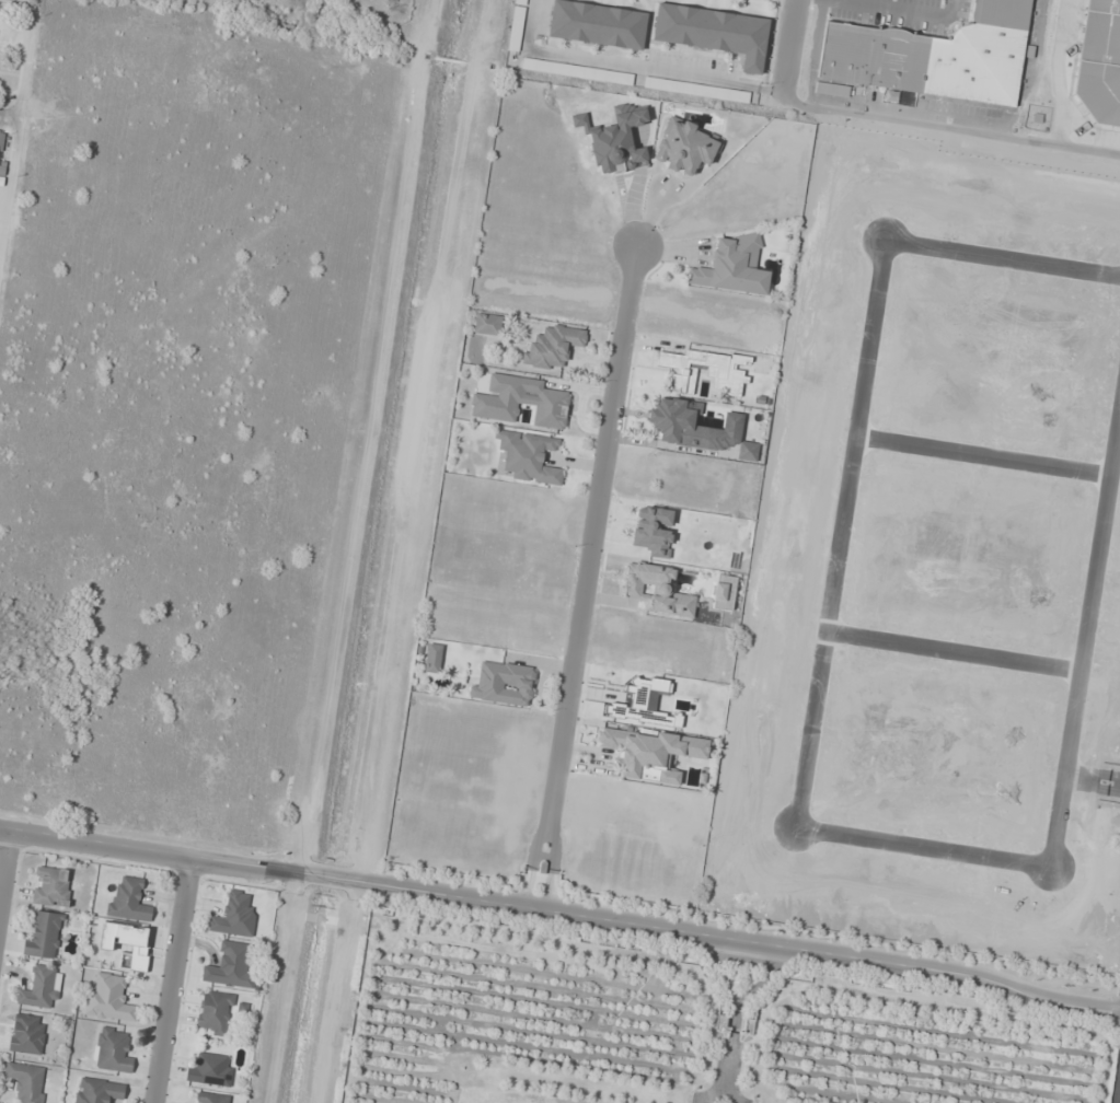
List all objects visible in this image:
building: (598, 24)
building: (519, 25)
building: (714, 32)
road: (787, 50)
building: (935, 56)
building: (1100, 67)
building: (577, 71)
building: (696, 90)
road: (950, 127)
building: (2, 139)
building: (615, 140)
building: (684, 148)
building: (732, 267)
building: (487, 324)
building: (553, 347)
building: (705, 370)
building: (520, 402)
building: (678, 422)
building: (748, 451)
building: (527, 457)
building: (654, 531)
road: (587, 579)
building: (656, 589)
building: (432, 659)
building: (505, 684)
building: (915, 710)
building: (907, 746)
building: (649, 752)
building: (1098, 828)
road: (4, 858)
building: (1025, 870)
building: (51, 886)
building: (129, 901)
road: (561, 913)
building: (234, 916)
building: (44, 936)
building: (128, 944)
building: (230, 966)
road: (172, 979)
building: (39, 988)
building: (111, 999)
building: (215, 1012)
building: (27, 1034)
building: (112, 1050)
building: (210, 1070)
building: (26, 1082)
building: (99, 1091)
building: (212, 1098)

